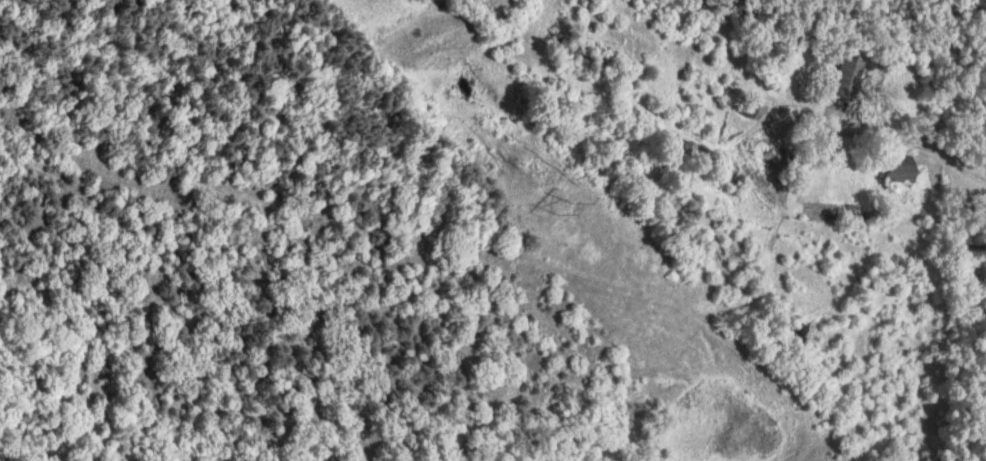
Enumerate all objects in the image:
road: (885, 136)
power tower: (565, 206)

